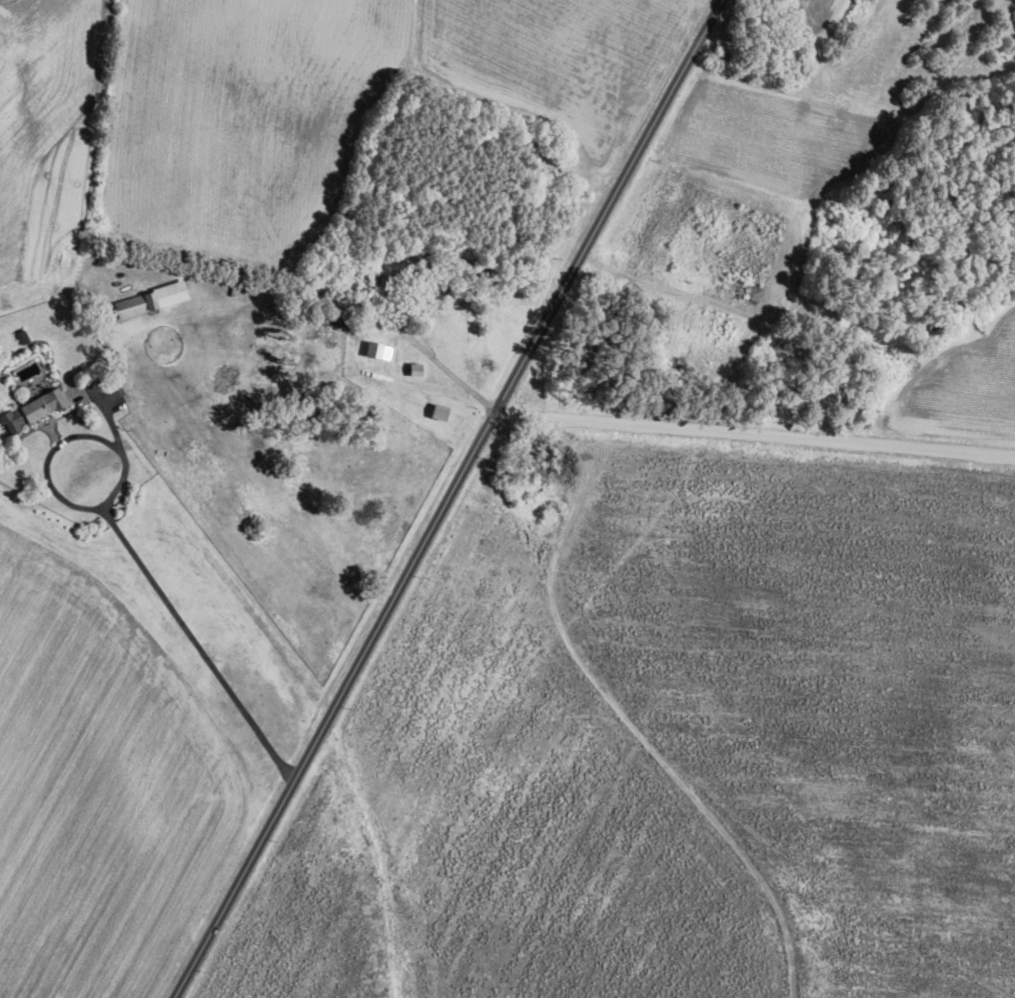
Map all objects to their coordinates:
building: (392, 269)
building: (144, 299)
building: (378, 350)
building: (415, 368)
road: (453, 375)
building: (34, 409)
building: (440, 411)
road: (761, 435)
road: (456, 500)
road: (188, 631)

